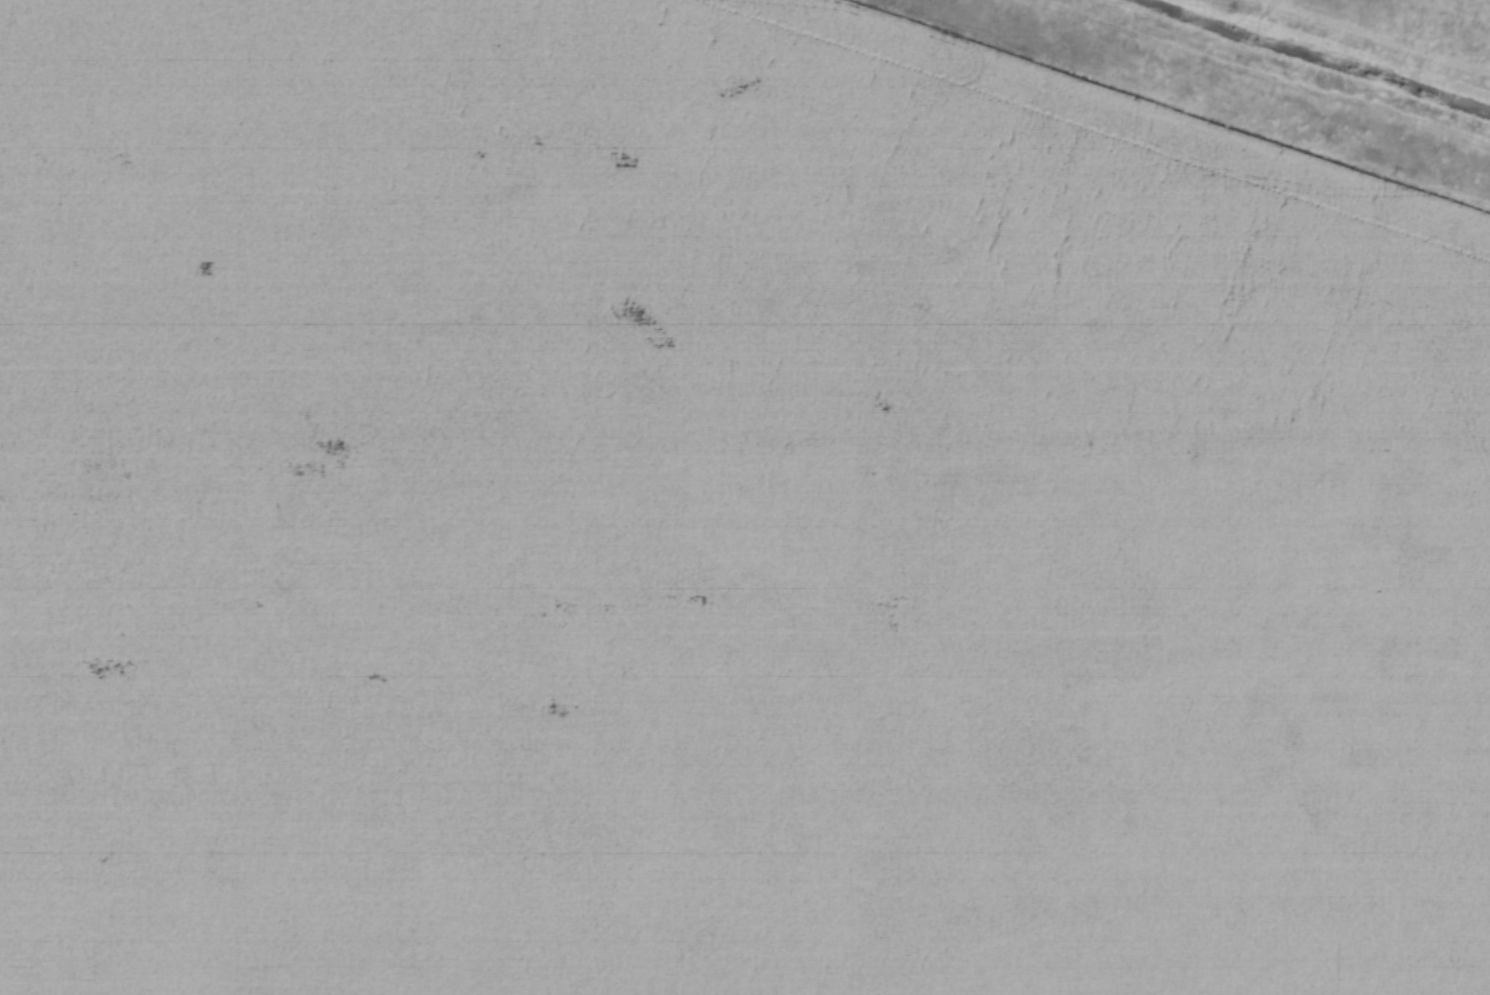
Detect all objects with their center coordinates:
river: (1348, 45)

